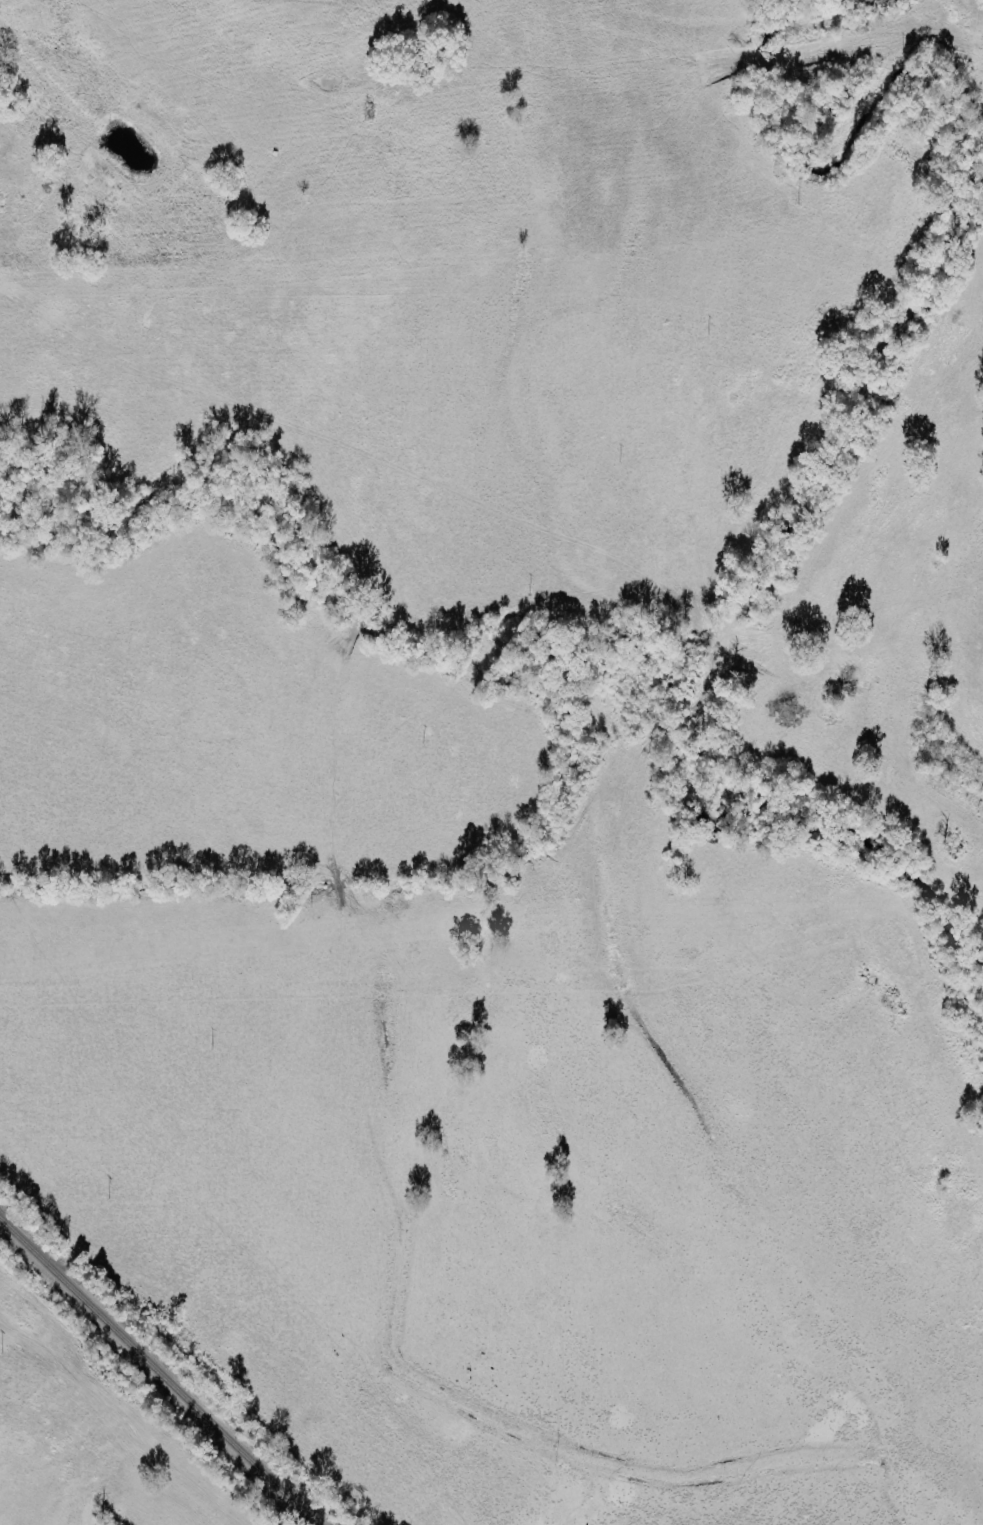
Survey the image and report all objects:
railway: (158, 1372)

